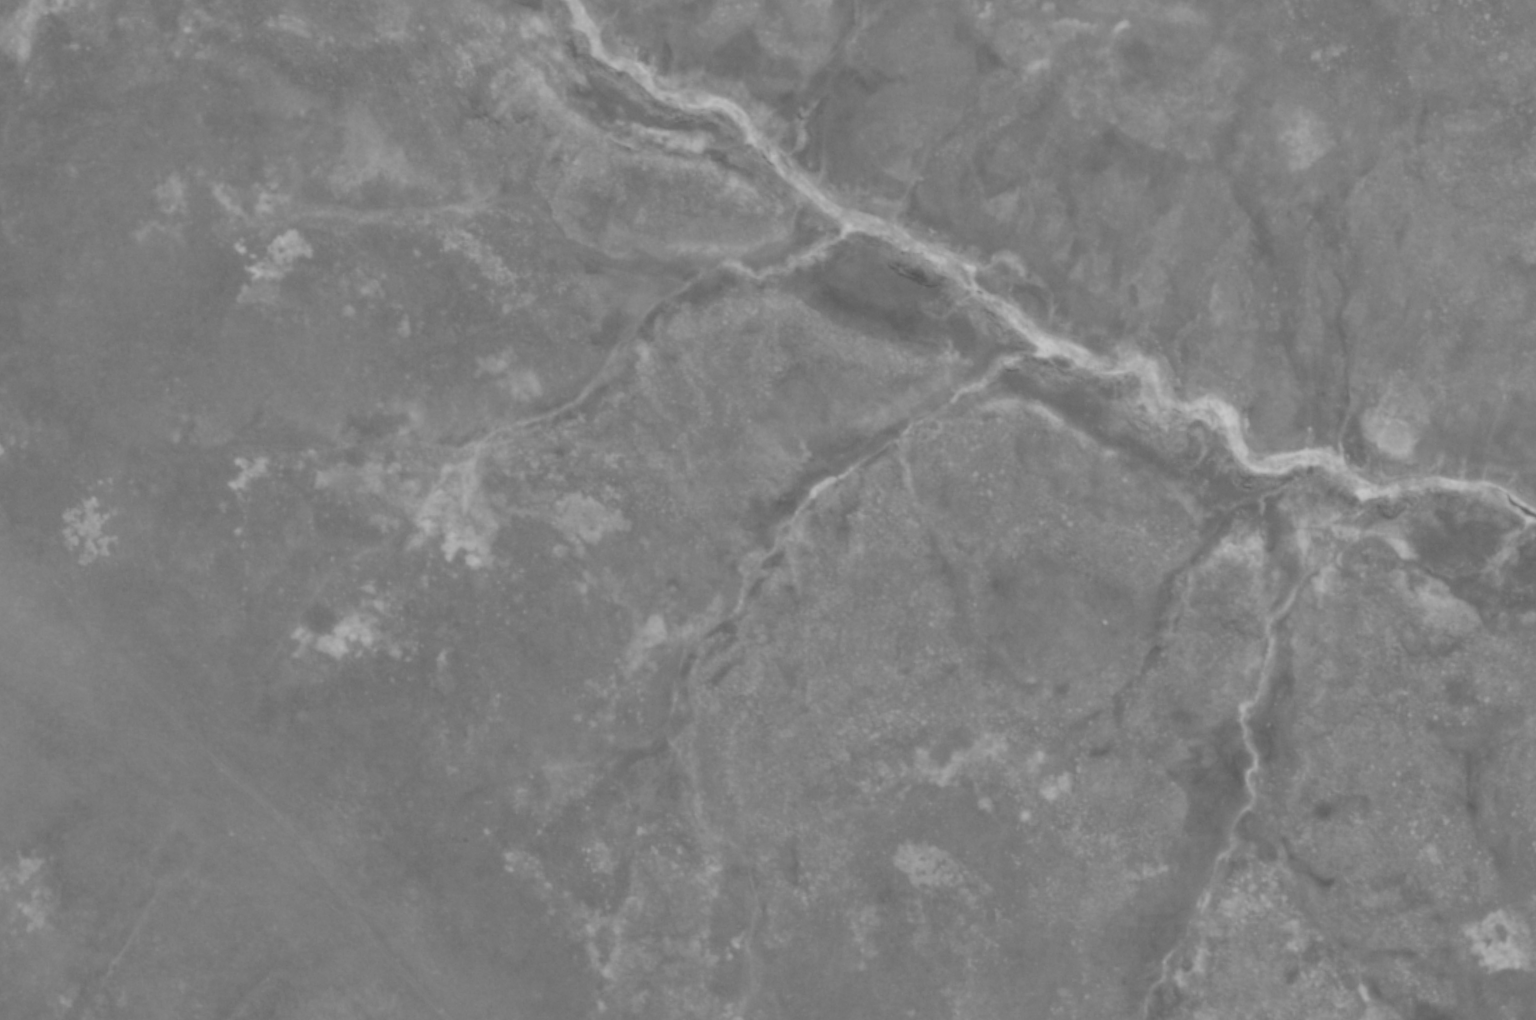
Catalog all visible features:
road: (222, 836)

